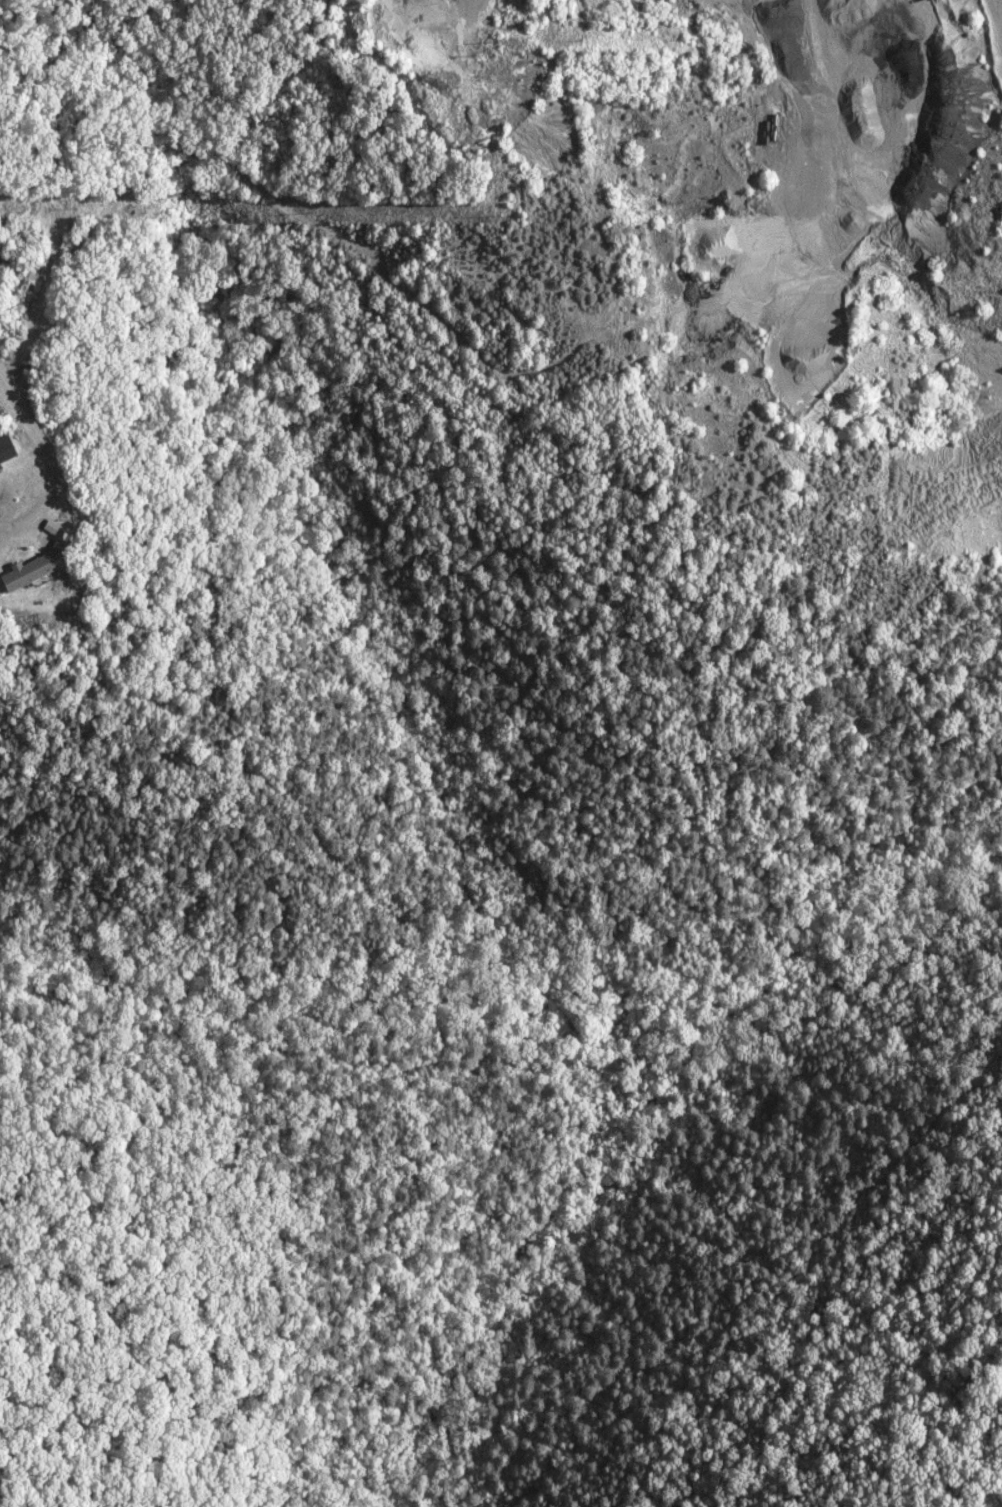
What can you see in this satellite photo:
building: (7, 449)
road: (50, 463)
building: (54, 526)
building: (36, 570)

